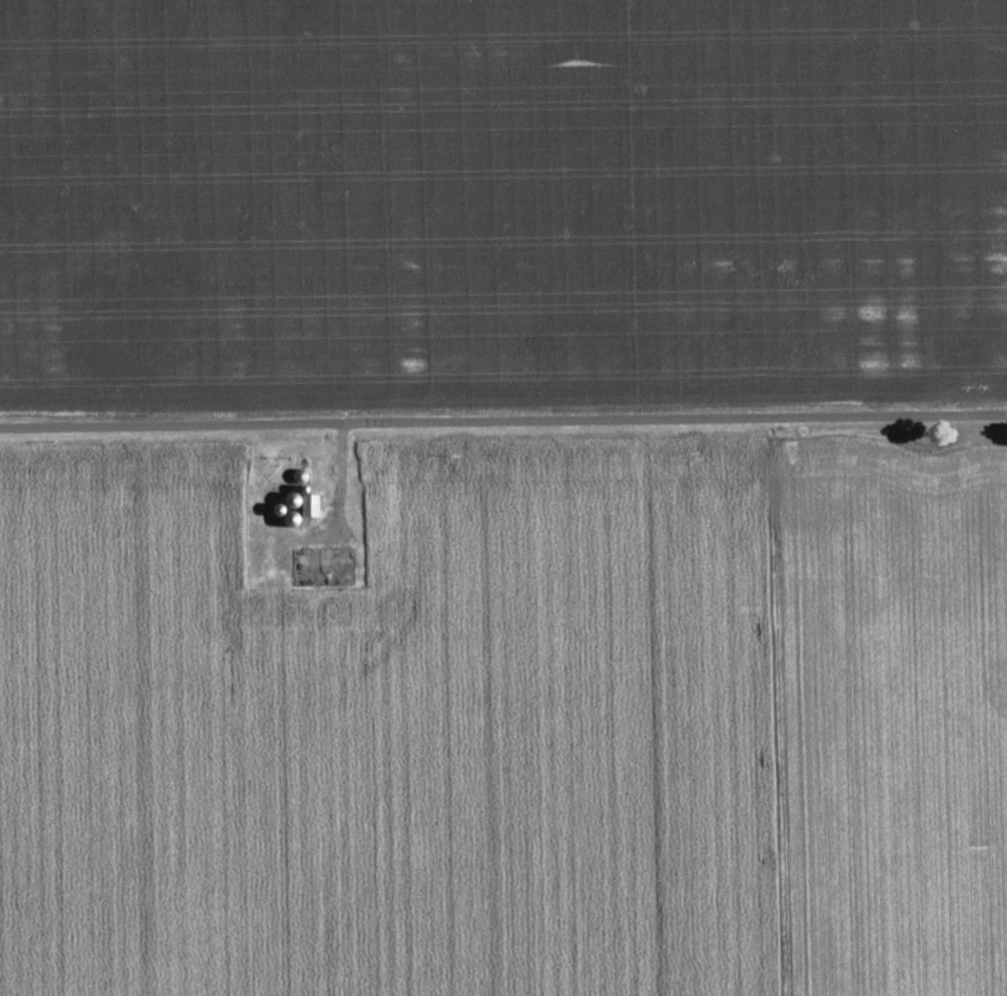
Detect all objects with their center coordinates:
crop: (500, 205)
road: (503, 423)
crop: (511, 727)

